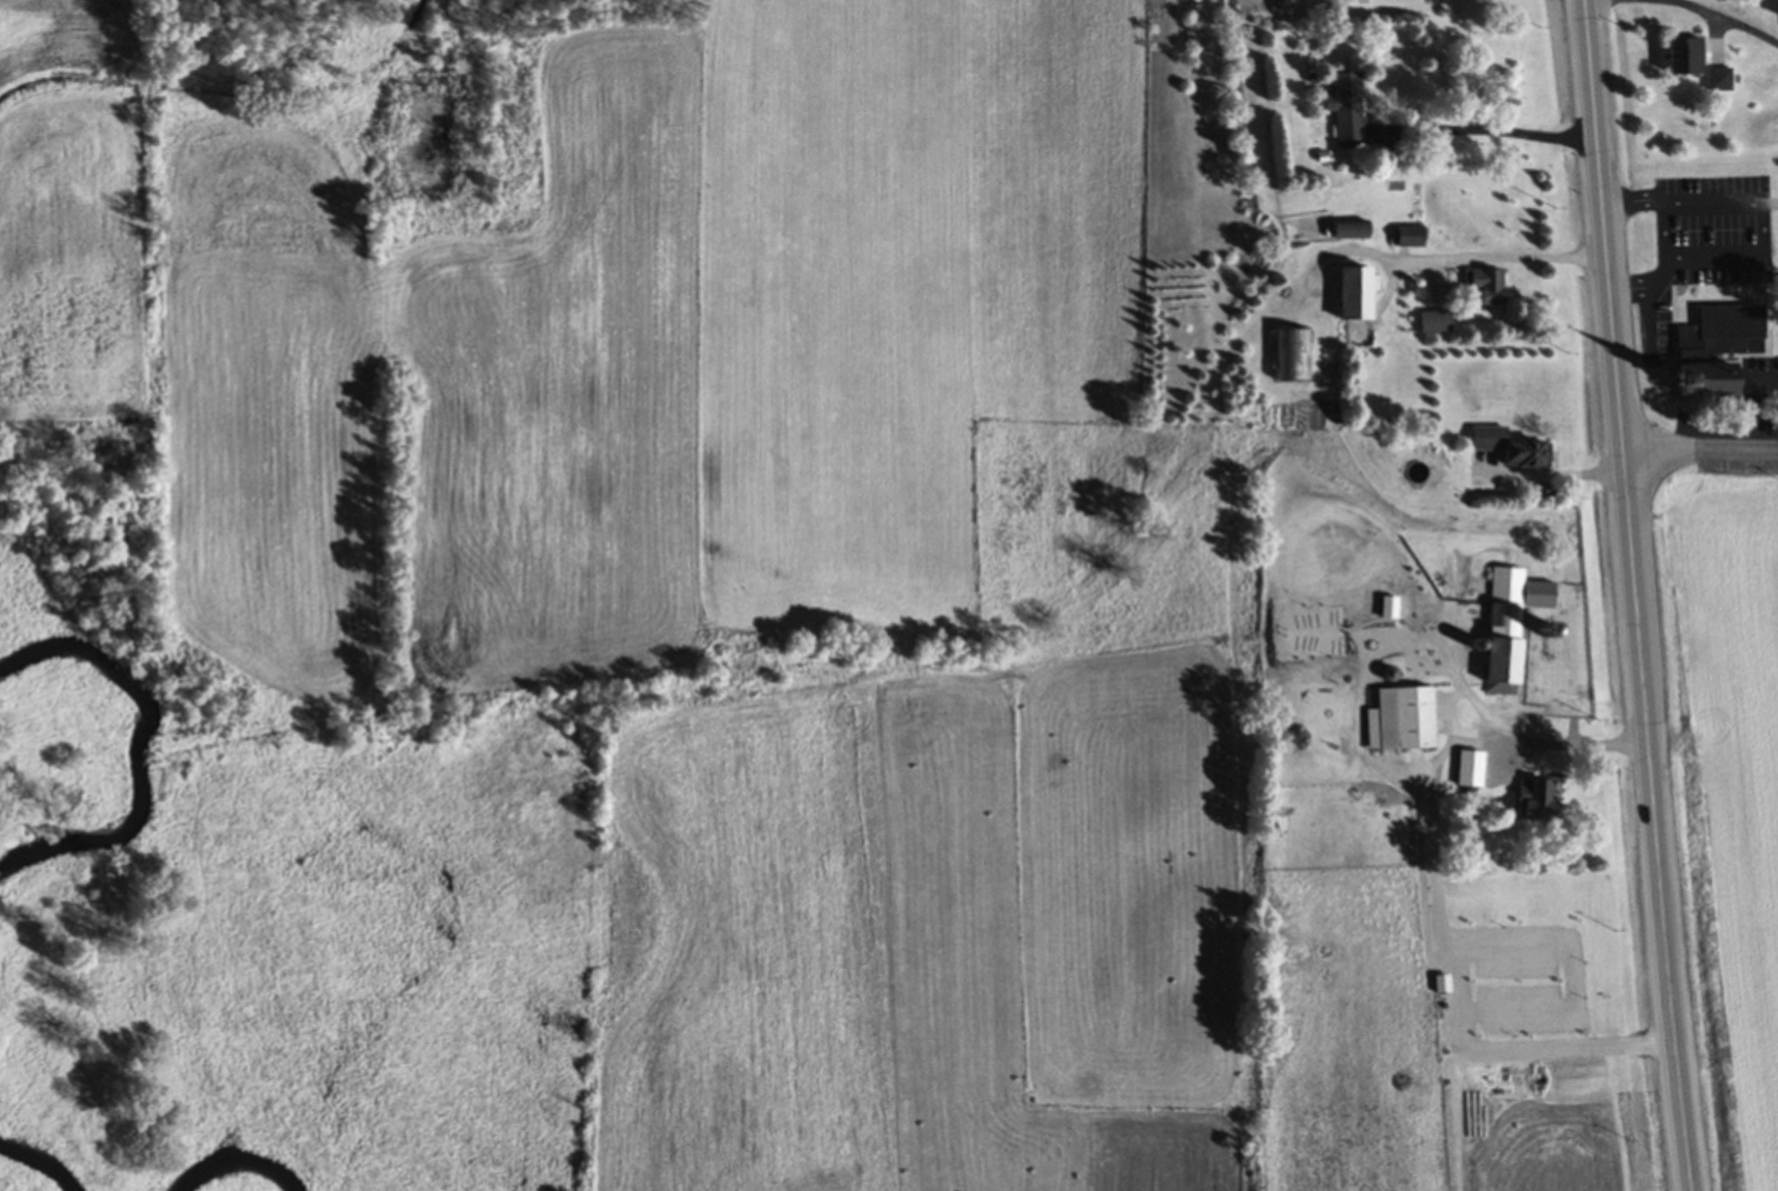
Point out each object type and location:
road: (1686, 7)
building: (1777, 11)
building: (1682, 59)
building: (1717, 82)
building: (1342, 111)
road: (1488, 135)
road: (1635, 202)
road: (1767, 208)
building: (1405, 239)
road: (1758, 258)
road: (1490, 270)
building: (1482, 287)
road: (1648, 290)
building: (1344, 296)
building: (1430, 325)
building: (1722, 334)
building: (1287, 357)
building: (1703, 382)
road: (1751, 405)
road: (1702, 447)
building: (1507, 450)
road: (1638, 595)
building: (1506, 628)
building: (1402, 722)
road: (1574, 744)
building: (1470, 779)
building: (1531, 804)
building: (1441, 987)

